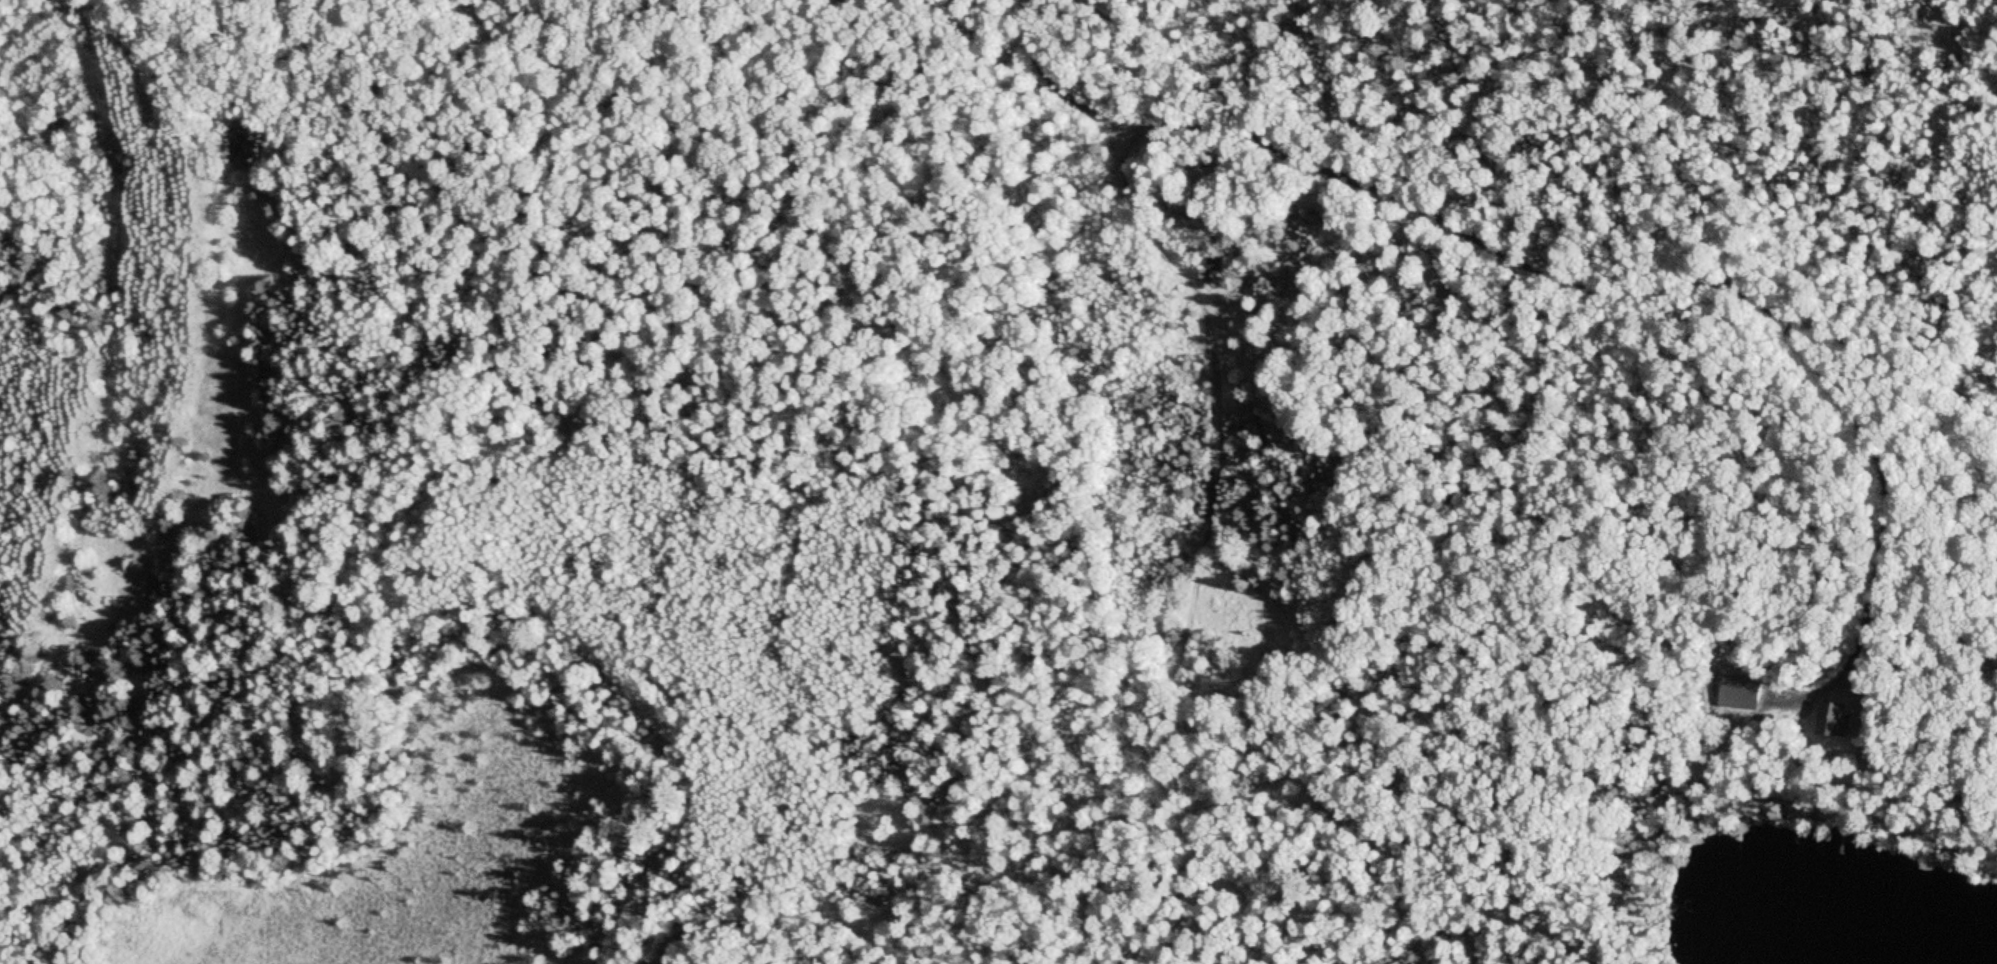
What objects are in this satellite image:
road: (129, 184)
road: (1421, 217)
road: (1938, 344)
building: (1831, 720)

